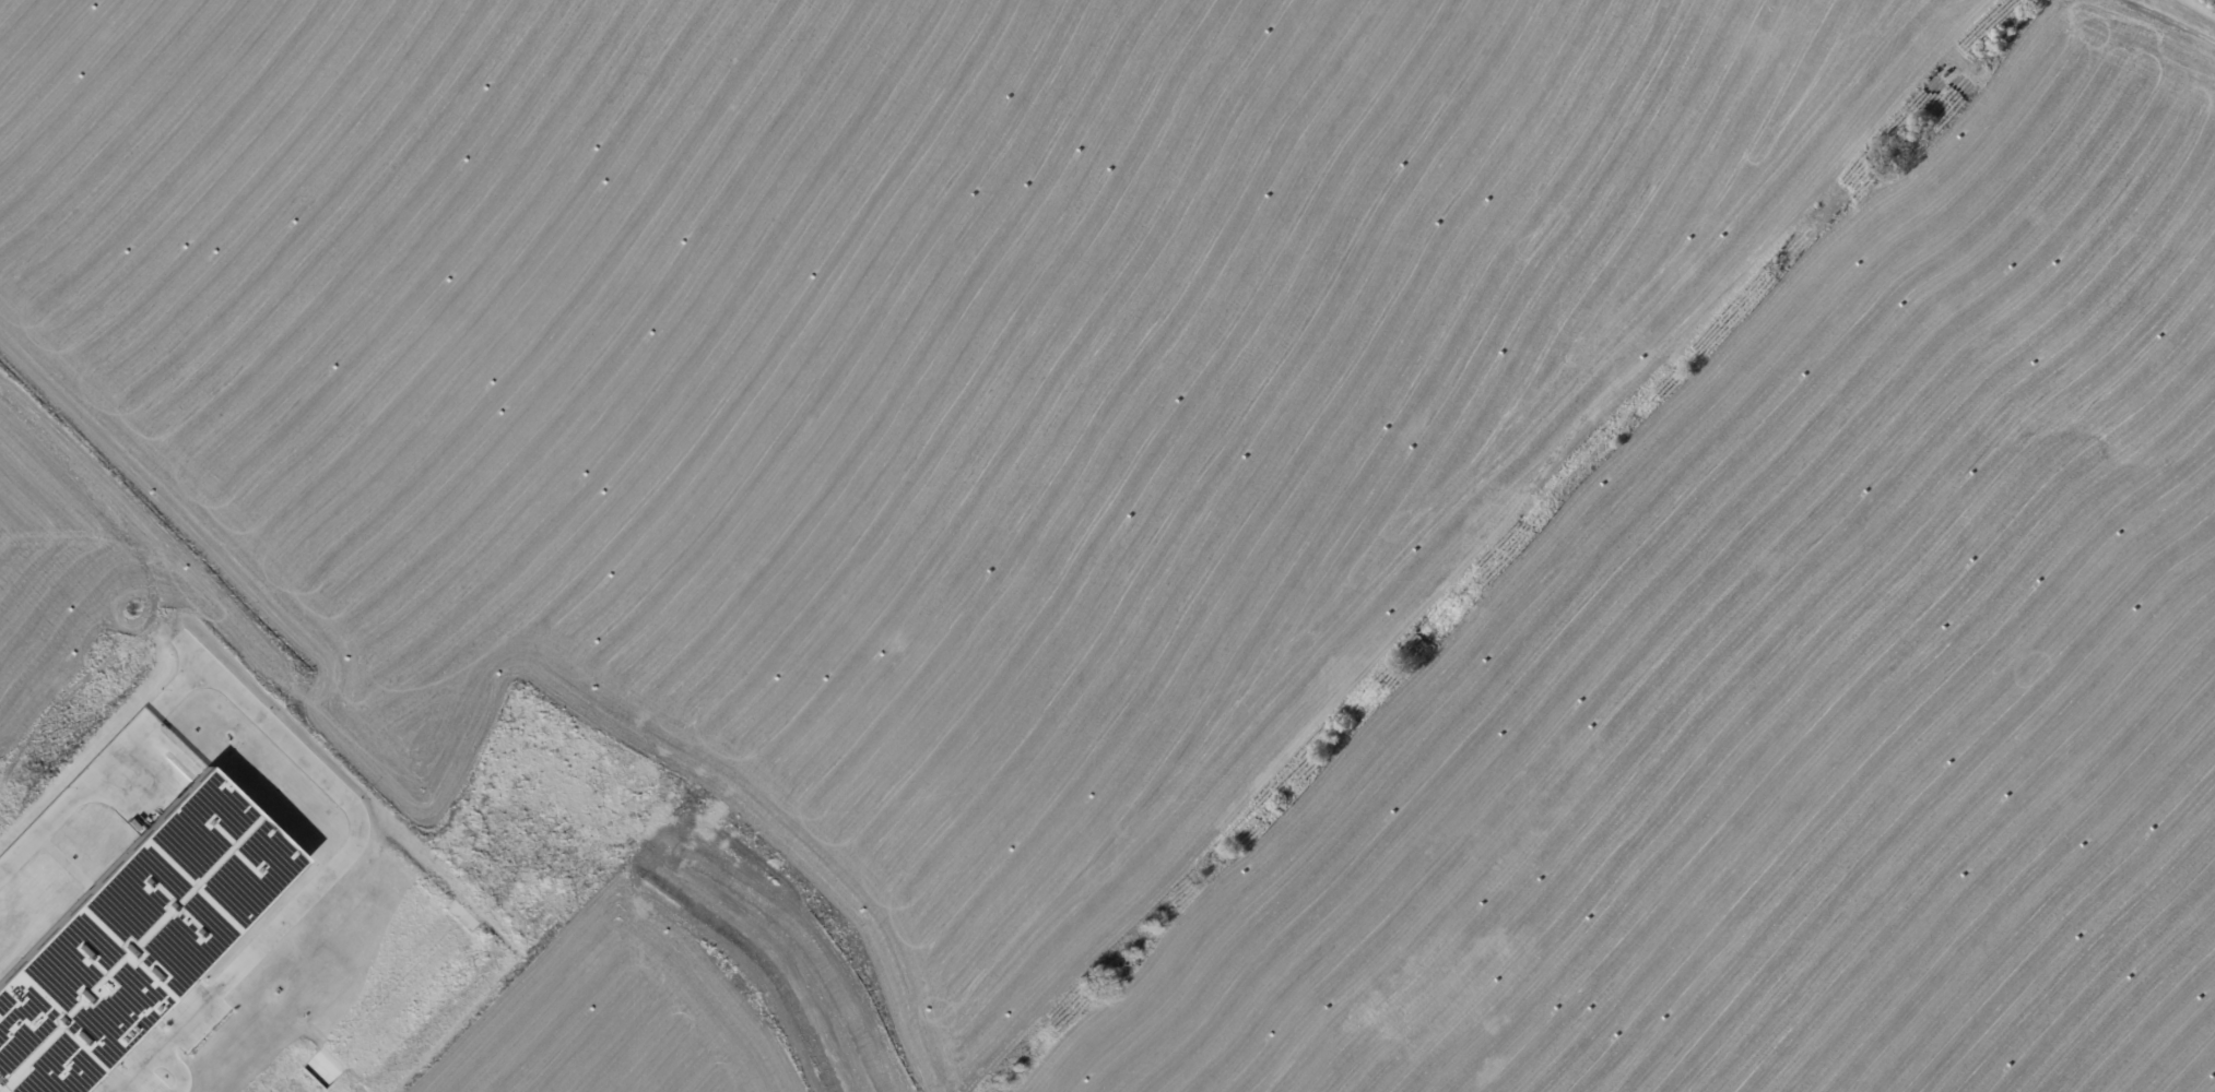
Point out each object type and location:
road: (2201, 8)
road: (313, 758)
road: (179, 1069)

